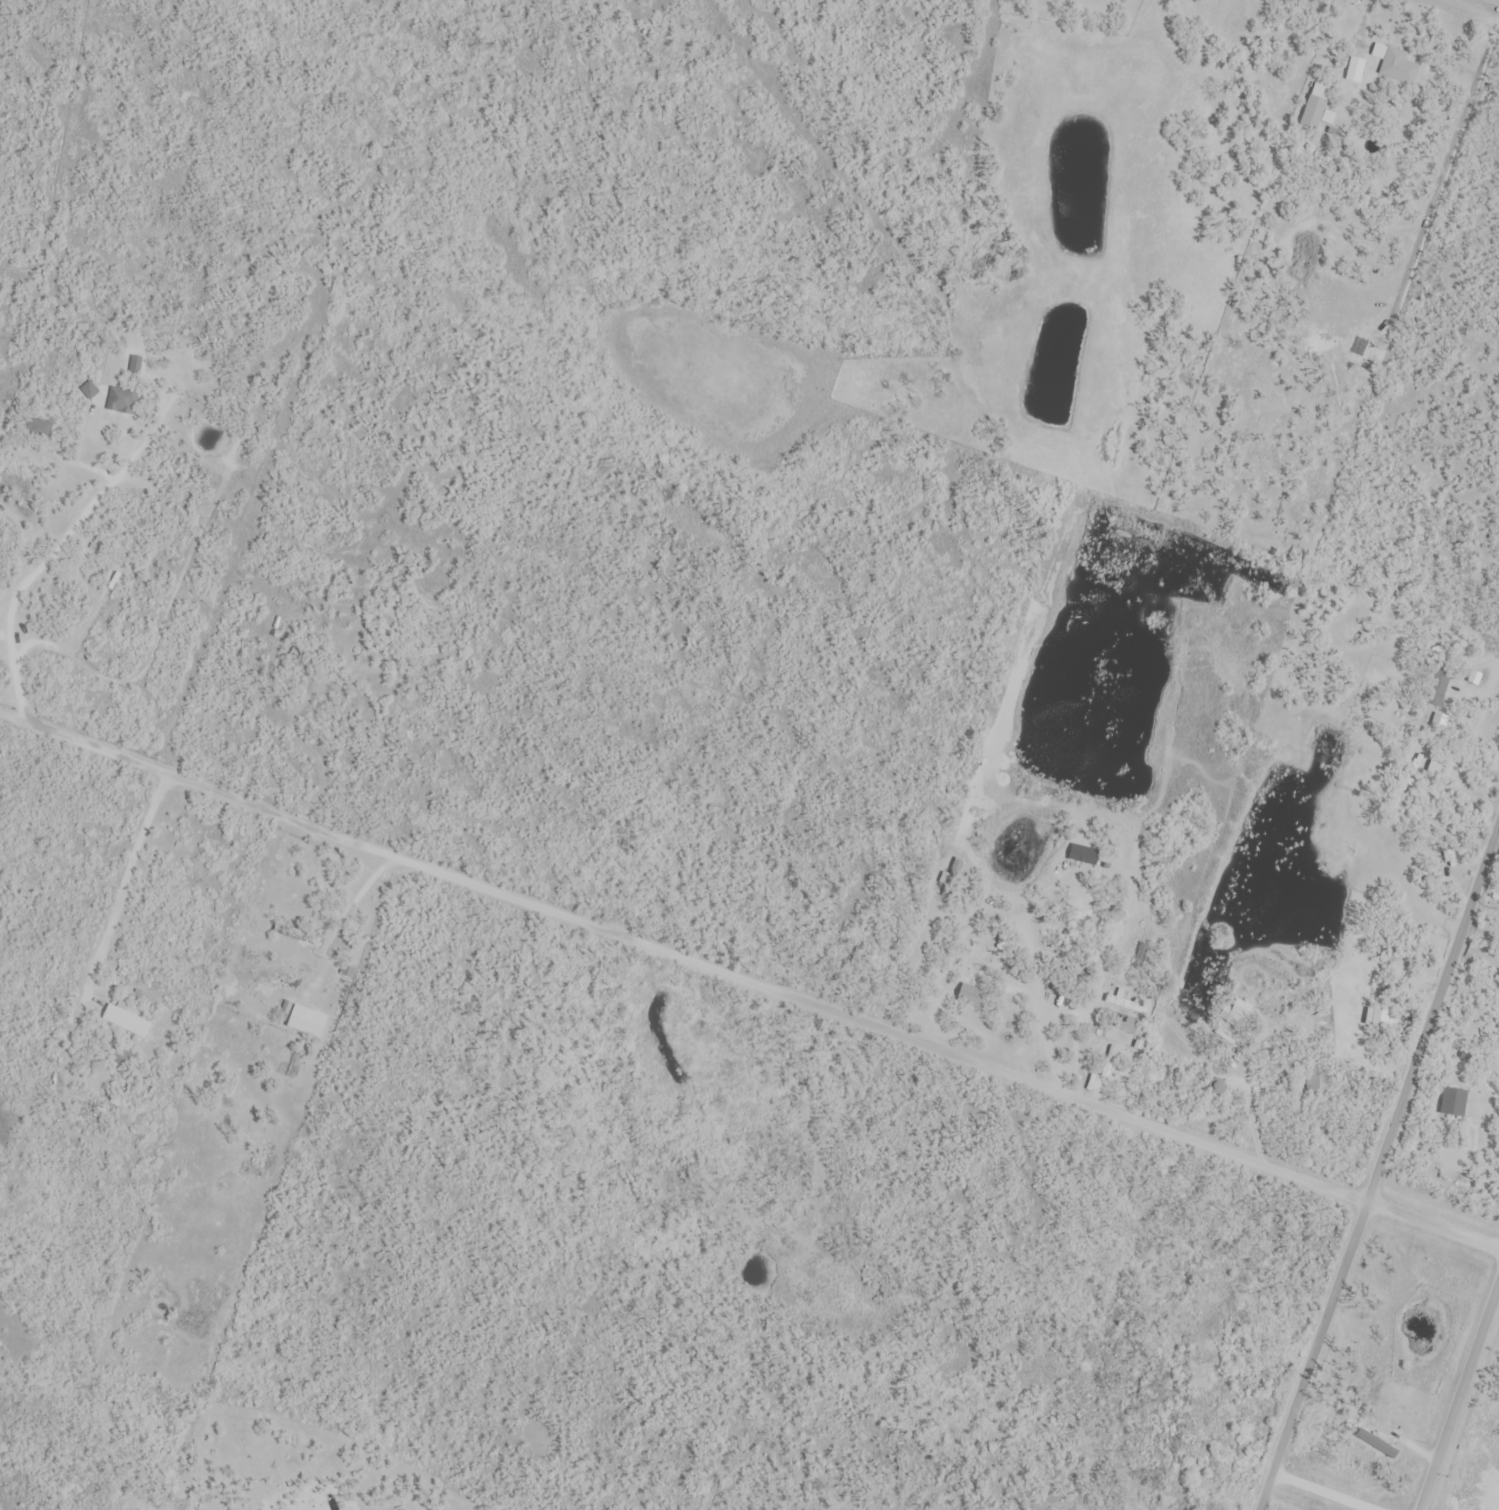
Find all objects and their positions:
road: (1484, 5)
building: (1396, 65)
building: (1357, 70)
building: (1316, 107)
building: (1330, 116)
building: (261, 359)
building: (90, 391)
building: (122, 400)
building: (40, 428)
road: (33, 571)
building: (1437, 690)
building: (1083, 855)
building: (1449, 863)
building: (297, 939)
road: (749, 982)
building: (971, 997)
building: (1126, 1003)
building: (1240, 1010)
building: (1374, 1018)
building: (126, 1021)
building: (306, 1022)
building: (1130, 1025)
building: (121, 1057)
building: (1110, 1062)
building: (1317, 1079)
building: (1453, 1102)
building: (90, 1111)
road: (1378, 1168)
road: (1459, 1398)
building: (1377, 1444)
road: (1320, 1493)

